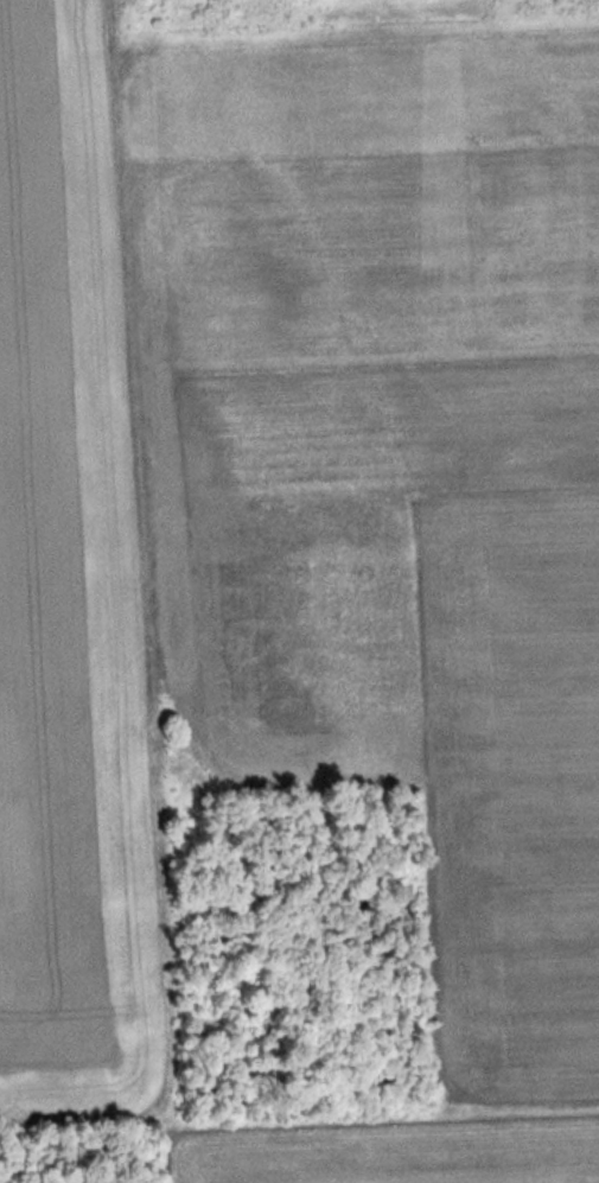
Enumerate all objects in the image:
crop: (397, 457)
crop: (66, 585)

